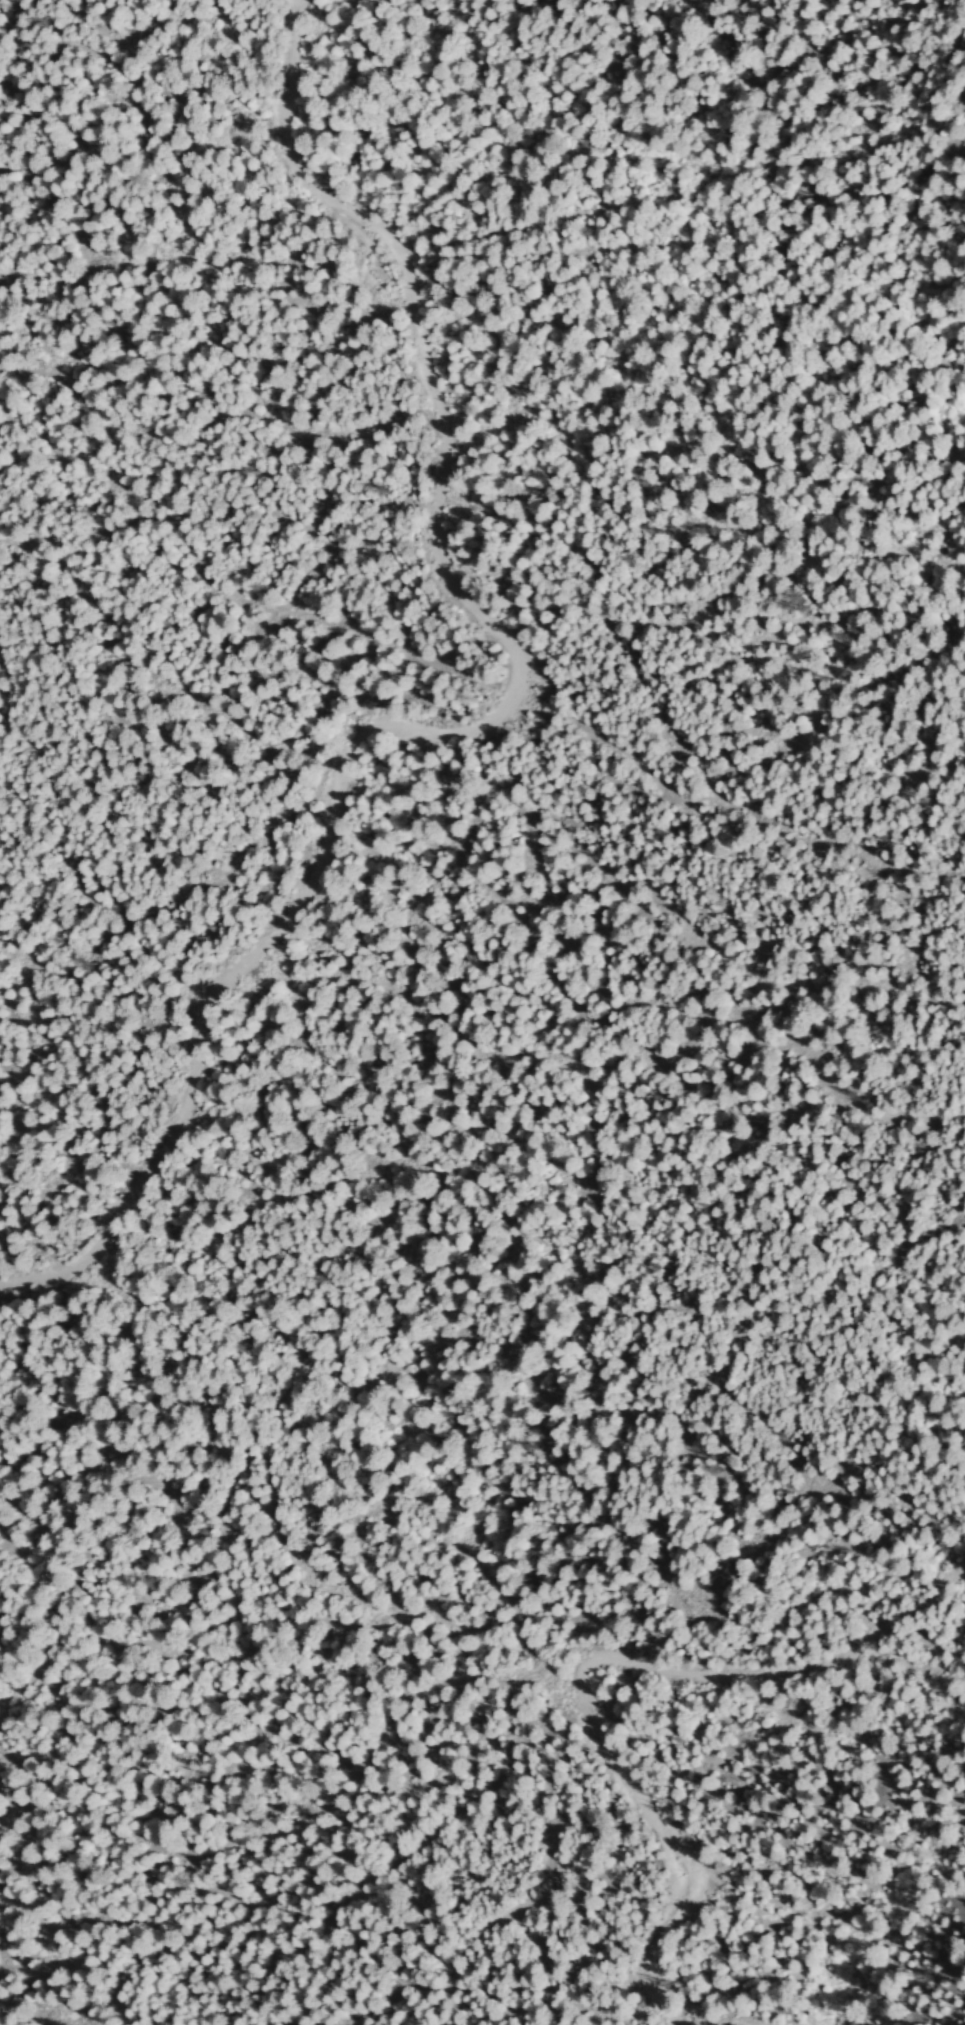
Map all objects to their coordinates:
road: (675, 1731)

